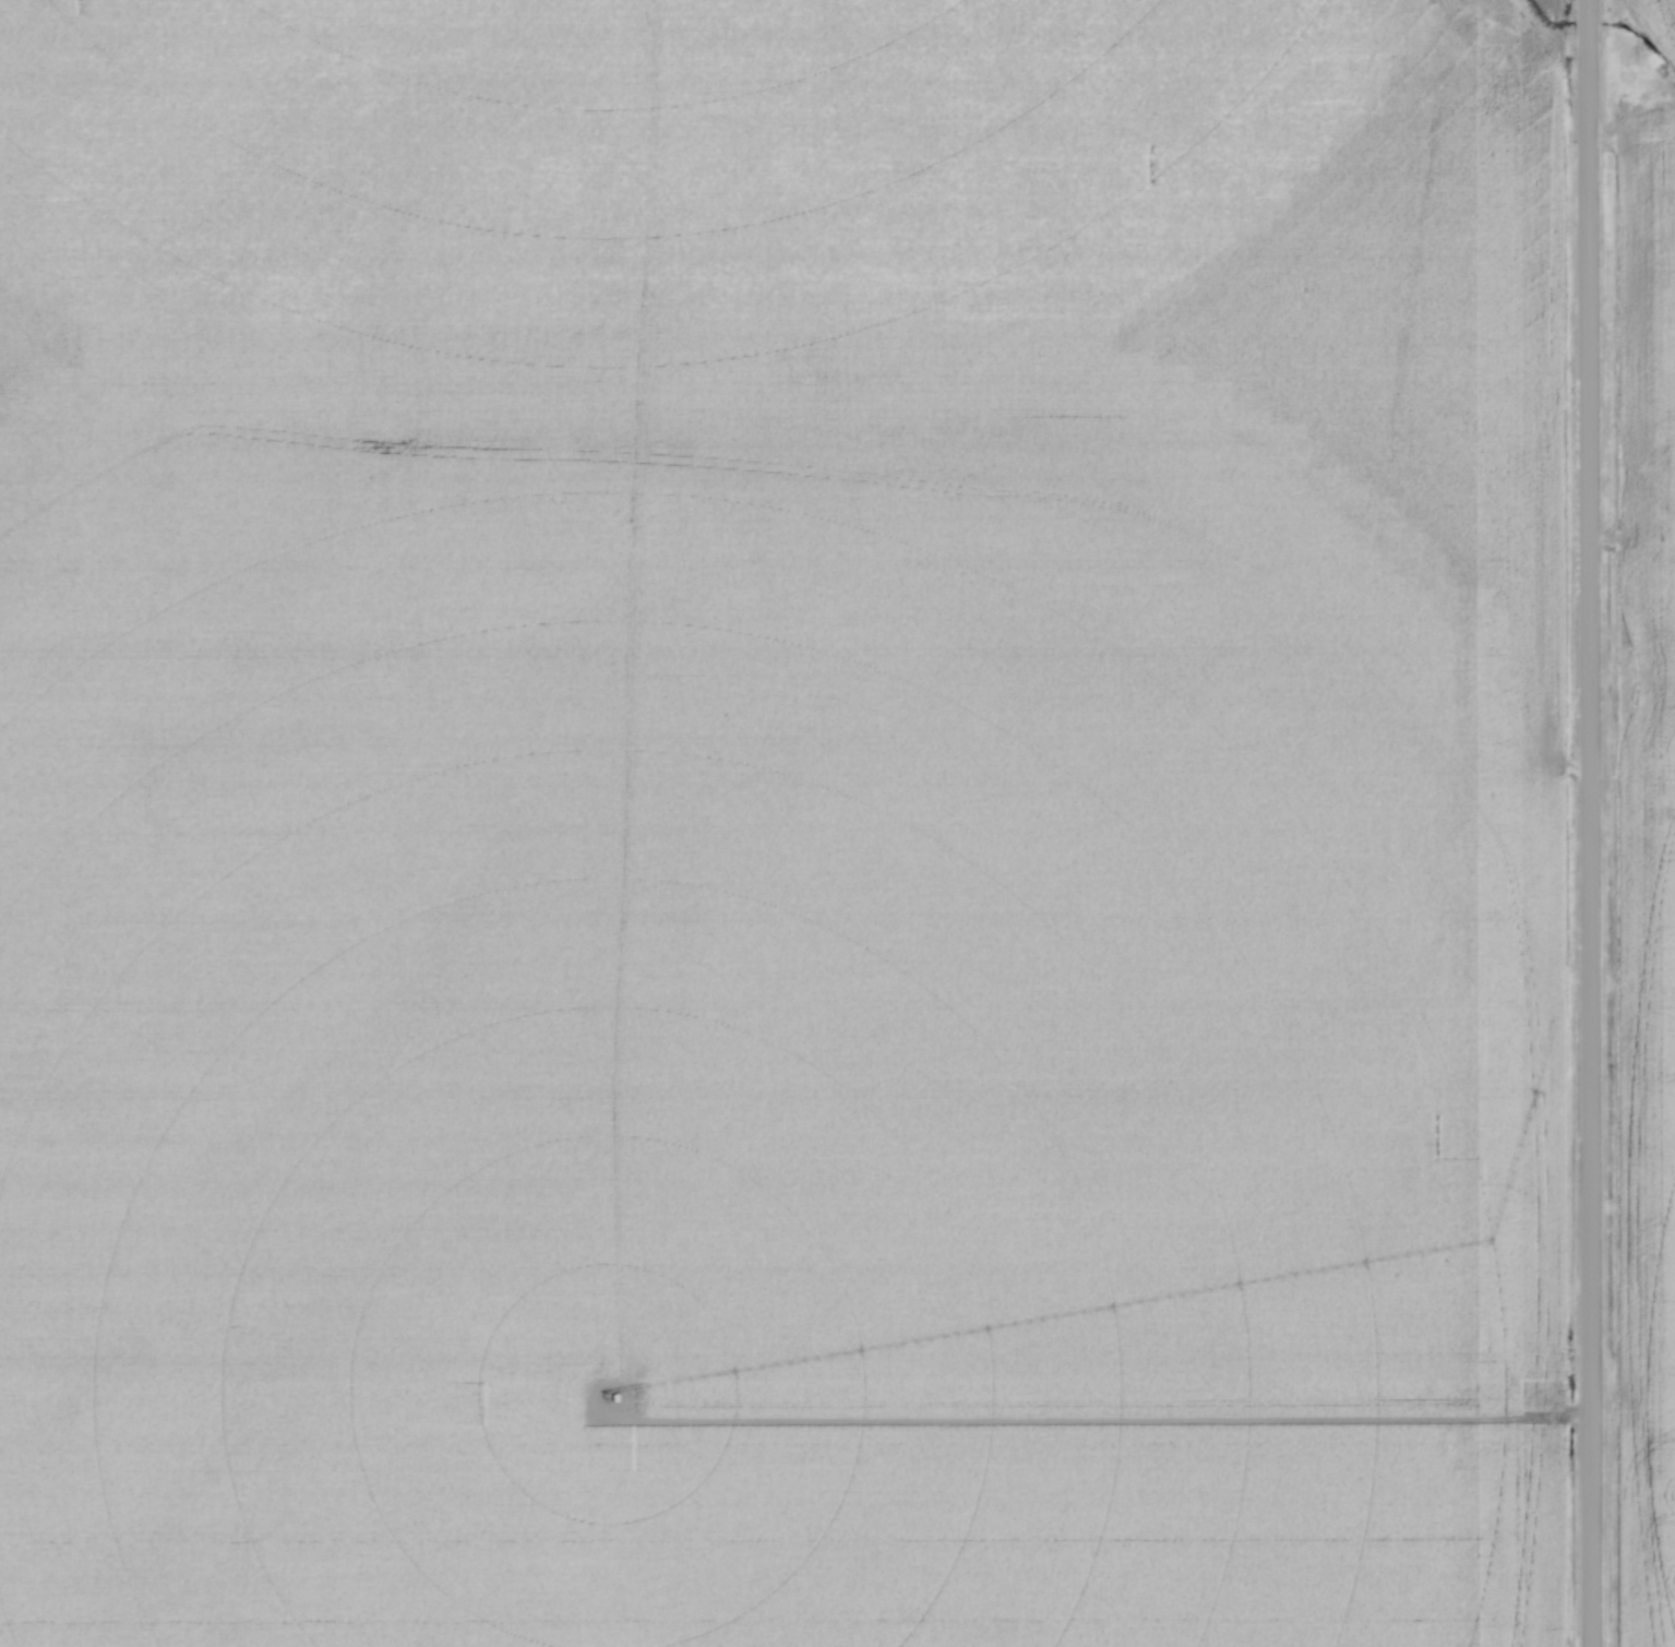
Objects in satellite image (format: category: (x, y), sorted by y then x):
road: (1584, 823)

